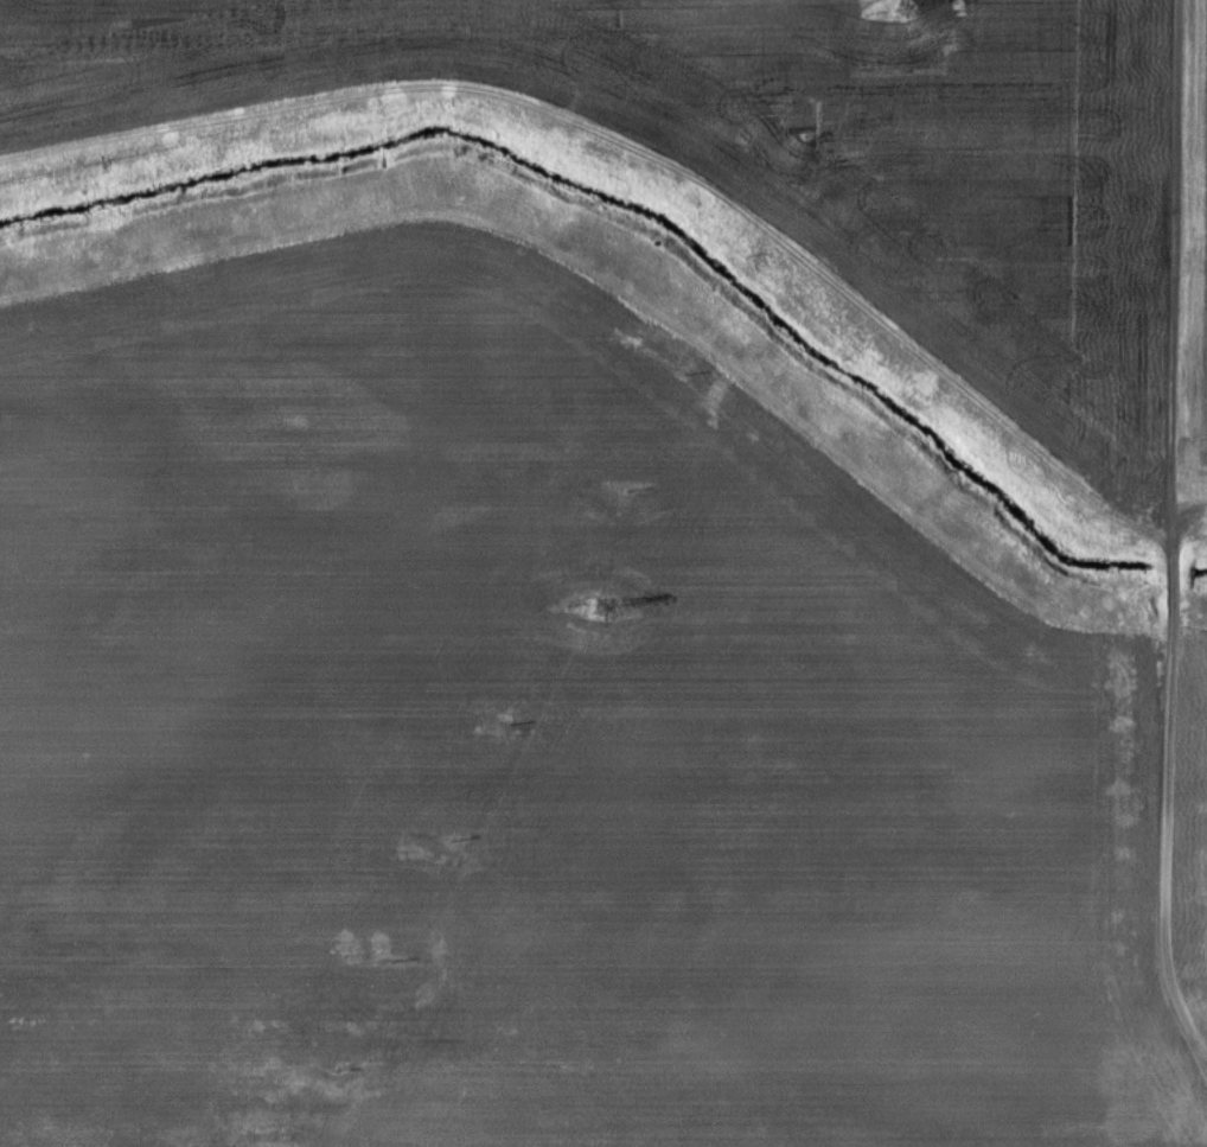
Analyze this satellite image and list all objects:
building: (1132, 1082)

